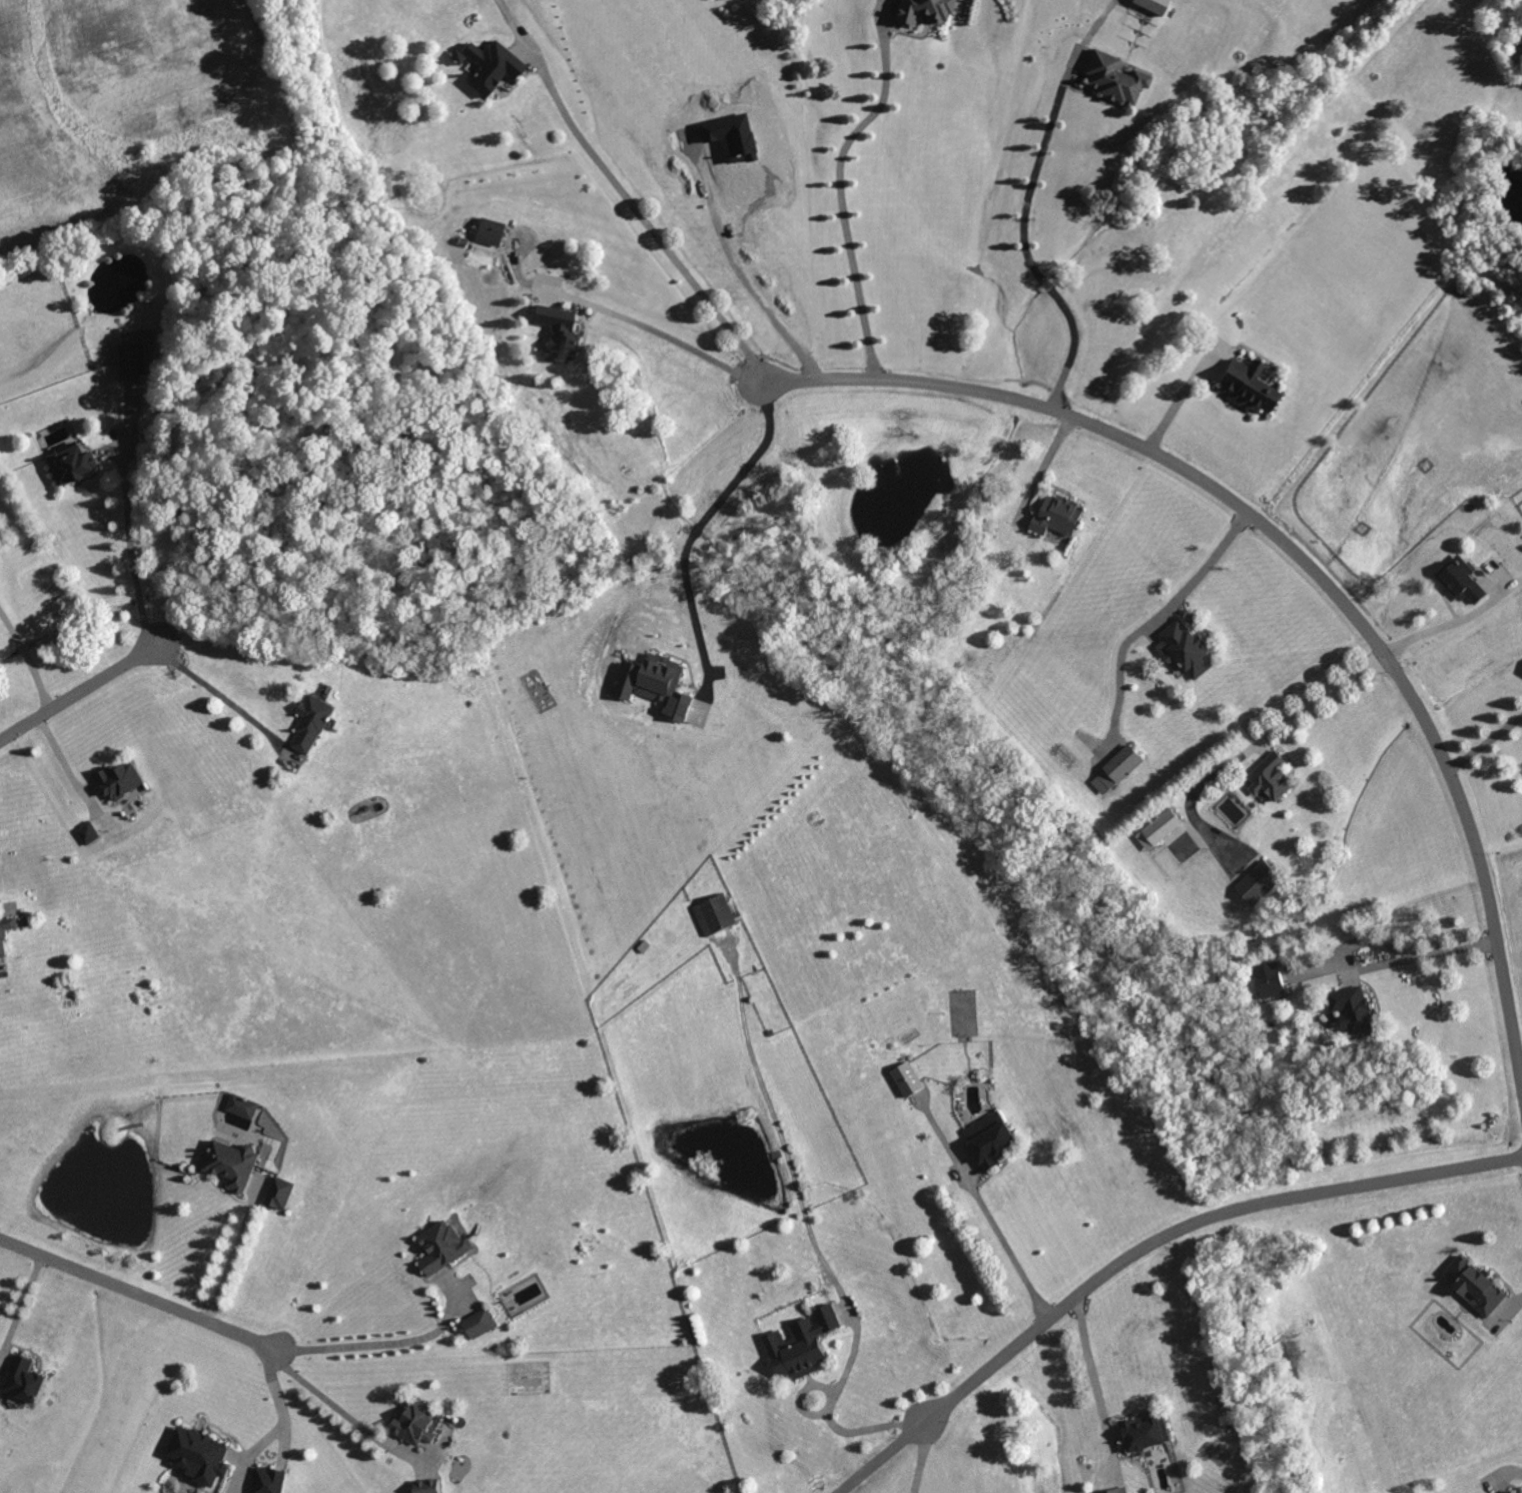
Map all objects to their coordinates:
building: (1154, 5)
building: (924, 11)
building: (459, 58)
building: (492, 67)
building: (1115, 79)
road: (839, 184)
road: (639, 211)
building: (491, 232)
road: (1021, 239)
road: (736, 267)
building: (558, 333)
road: (669, 337)
building: (132, 362)
building: (1249, 387)
road: (1173, 396)
building: (71, 465)
building: (1058, 518)
road: (688, 526)
road: (129, 542)
road: (1296, 552)
building: (1461, 582)
road: (1149, 615)
road: (1457, 622)
building: (1185, 651)
road: (24, 657)
road: (73, 686)
building: (659, 686)
road: (222, 696)
building: (312, 724)
road: (1486, 744)
road: (1249, 746)
building: (1117, 771)
building: (1271, 779)
building: (121, 781)
building: (1159, 831)
building: (88, 833)
building: (1259, 884)
building: (715, 917)
building: (6, 930)
building: (645, 947)
road: (1375, 965)
building: (1270, 986)
building: (1353, 1010)
building: (908, 1081)
building: (244, 1107)
building: (992, 1141)
building: (235, 1164)
building: (282, 1194)
building: (443, 1248)
road: (1144, 1249)
road: (1009, 1250)
road: (229, 1258)
building: (1475, 1287)
road: (140, 1292)
road: (19, 1301)
building: (480, 1324)
road: (381, 1344)
building: (802, 1346)
building: (27, 1381)
road: (1095, 1382)
road: (338, 1403)
road: (272, 1414)
road: (829, 1415)
building: (416, 1423)
building: (1146, 1434)
building: (201, 1456)
road: (921, 1457)
building: (270, 1481)
building: (428, 1486)
building: (1122, 1491)
building: (1511, 1492)
building: (1513, 1492)

